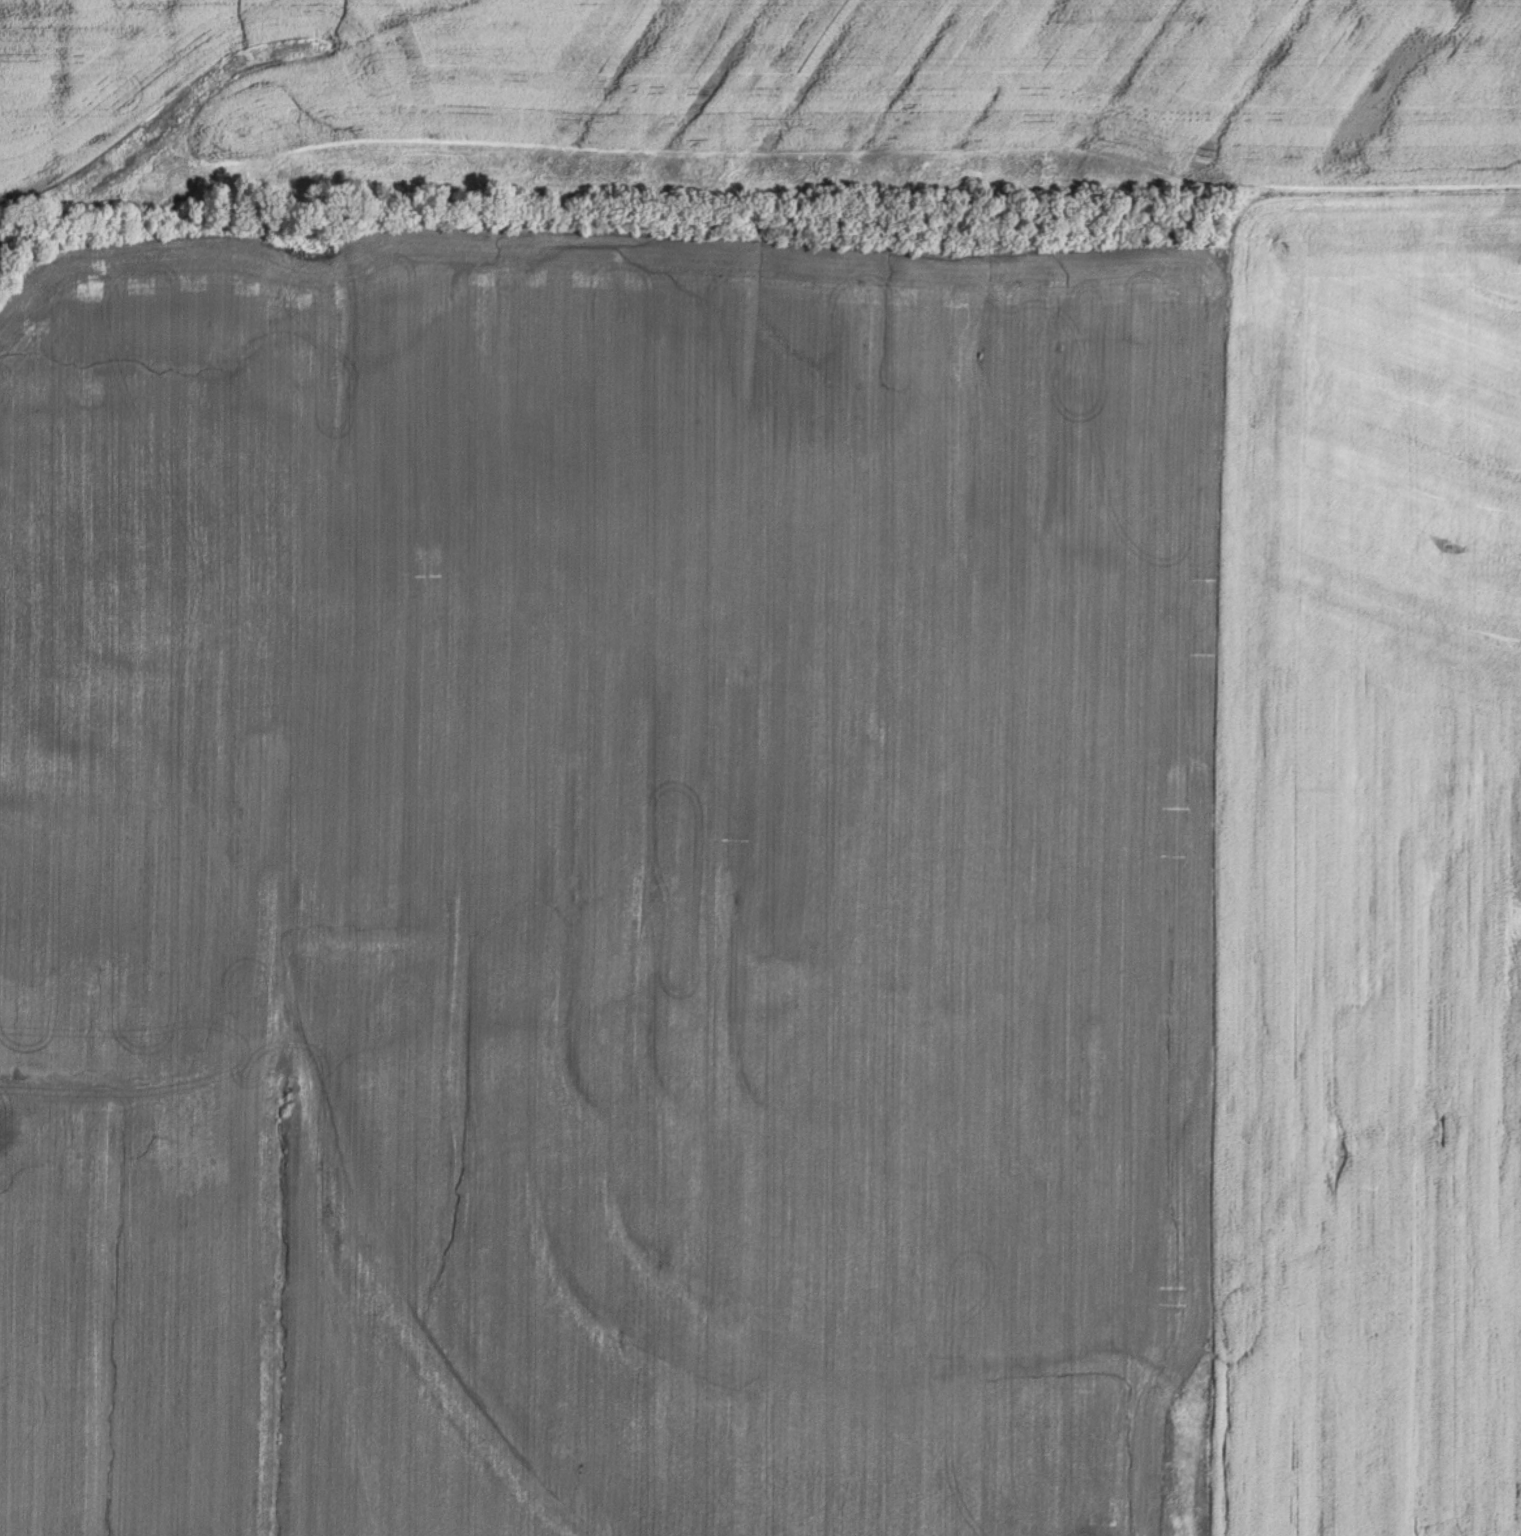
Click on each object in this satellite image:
road: (1199, 1461)

